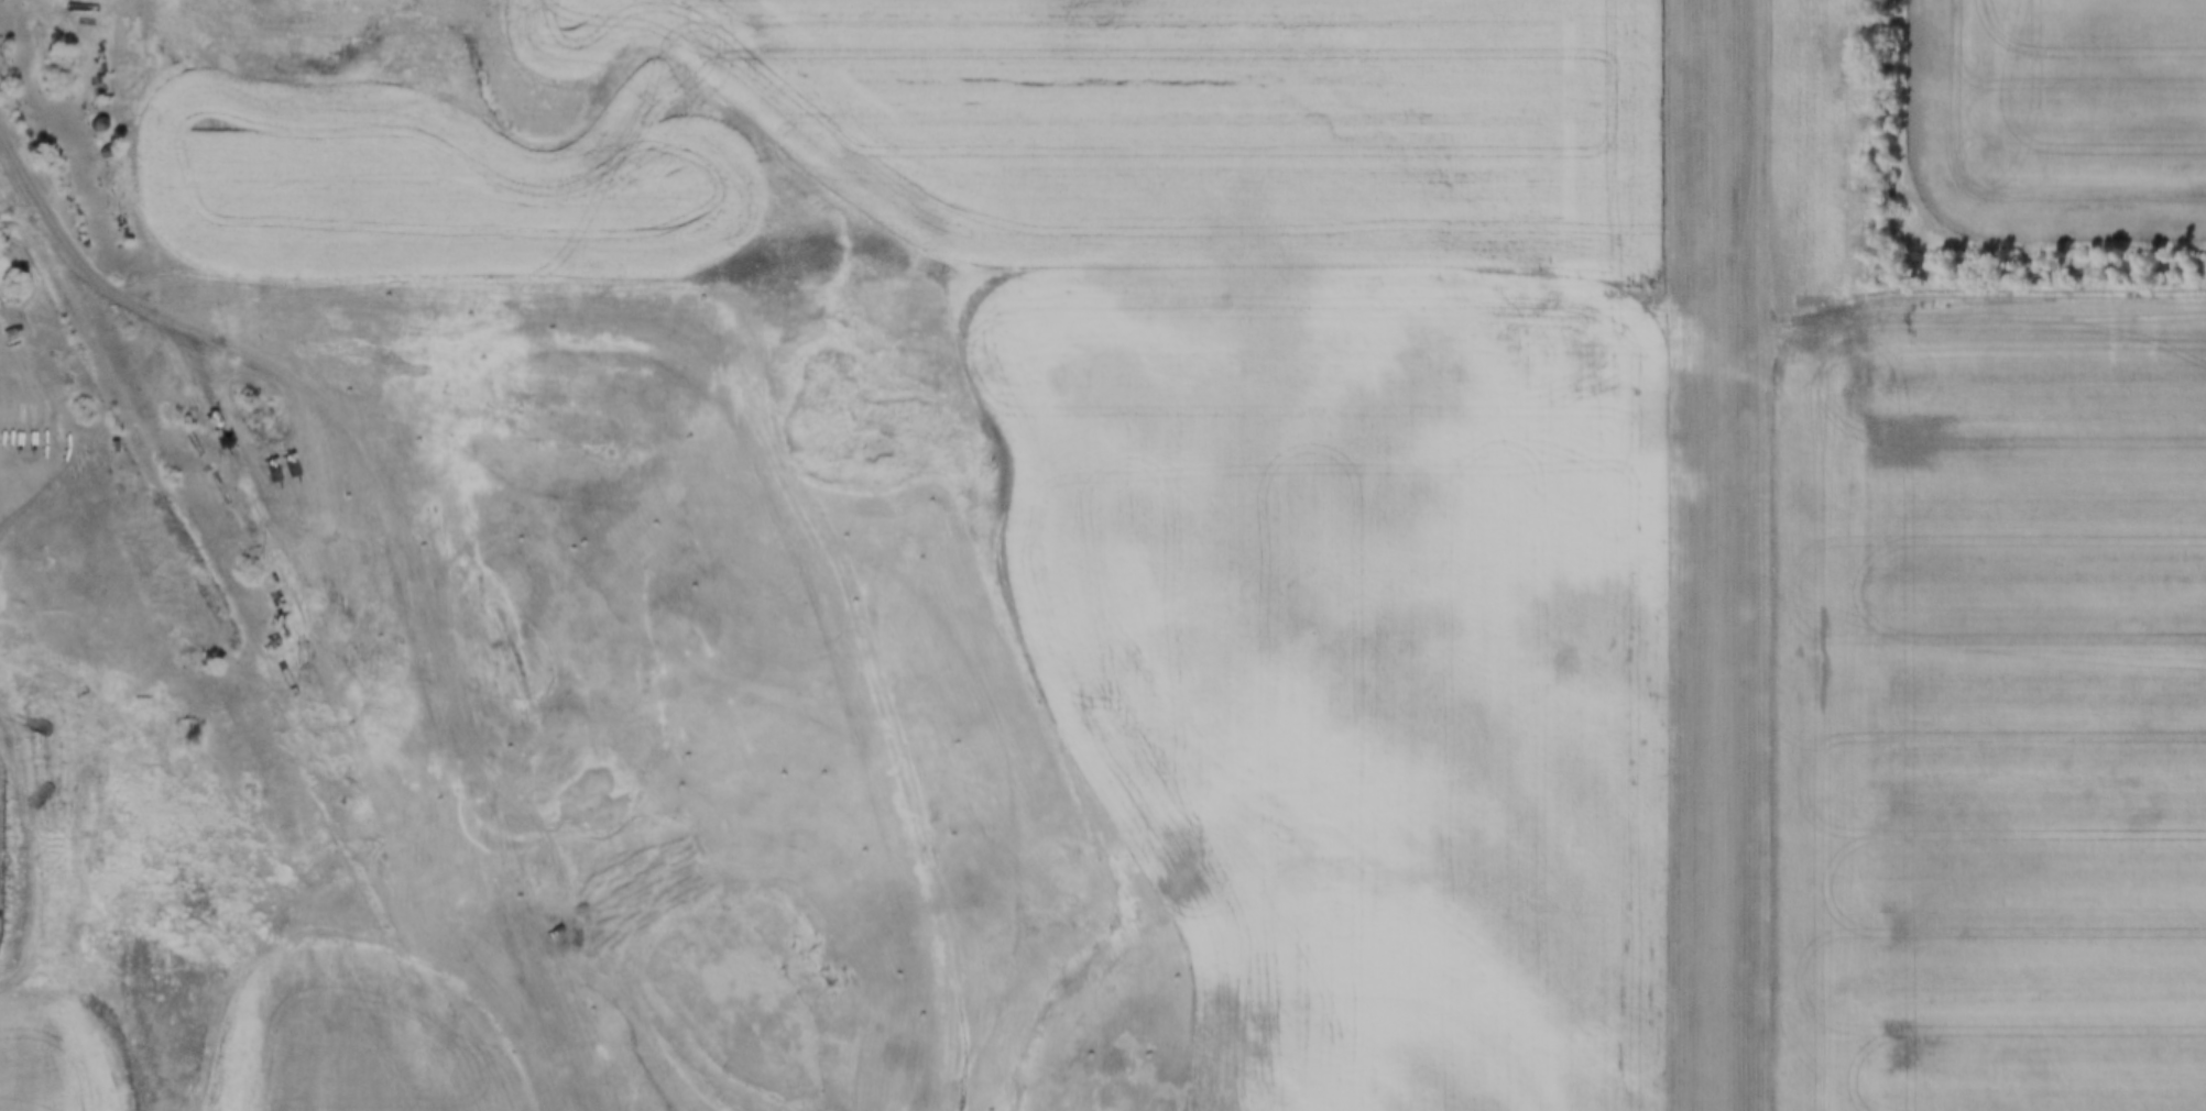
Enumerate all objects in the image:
road: (159, 308)
airport runway: (1715, 555)
airport: (1716, 555)

